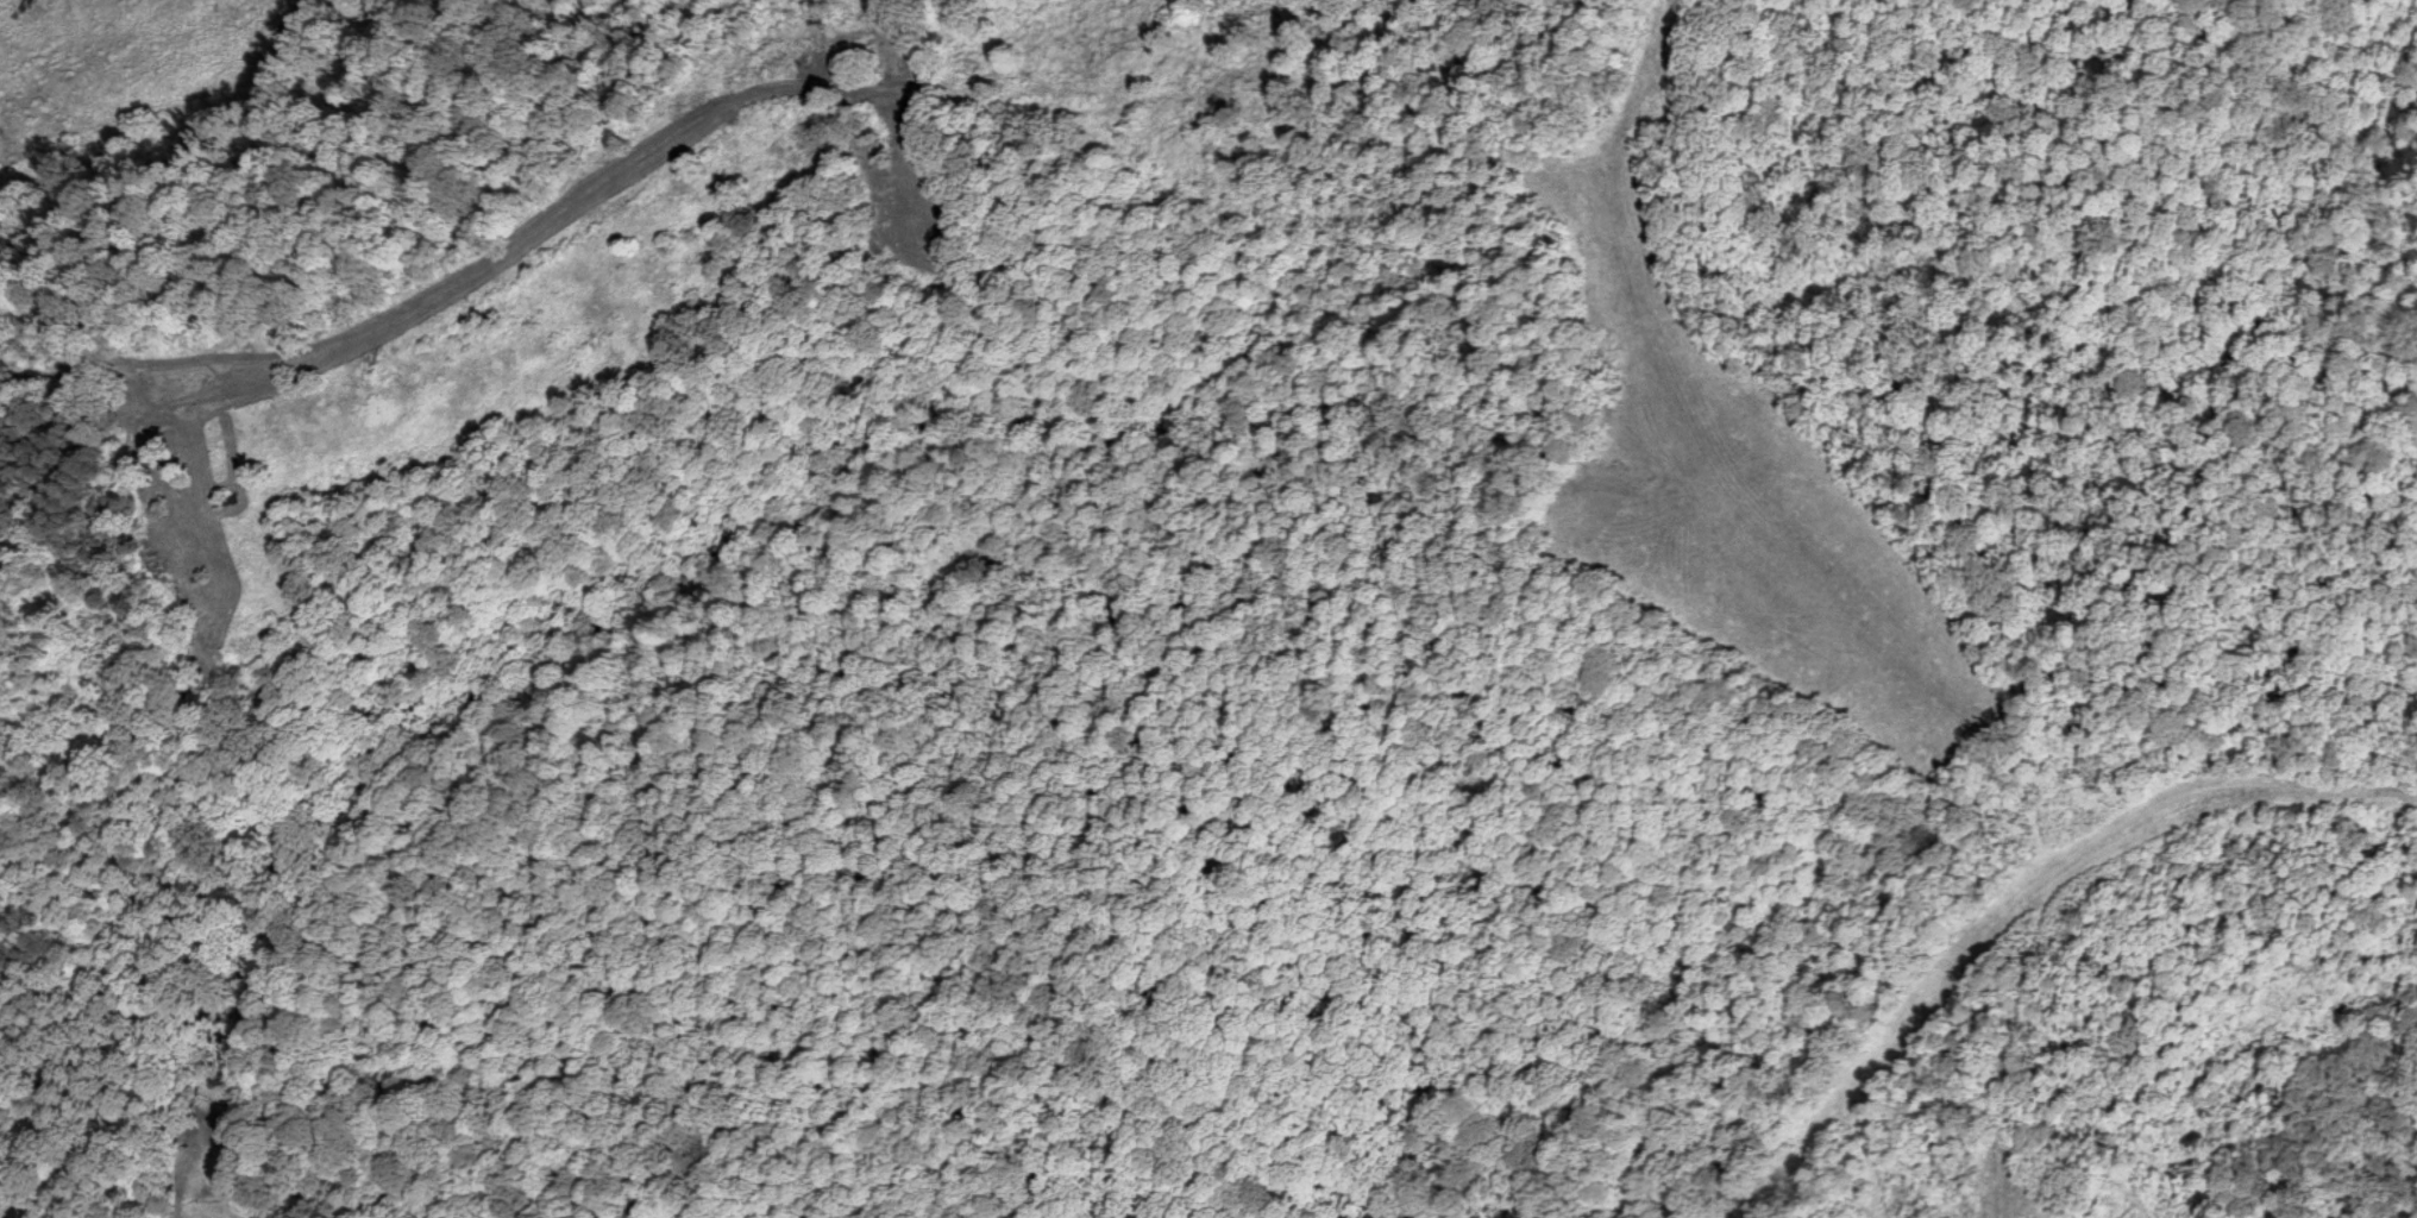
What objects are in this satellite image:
building: (39, 12)
road: (877, 686)
road: (484, 1056)

